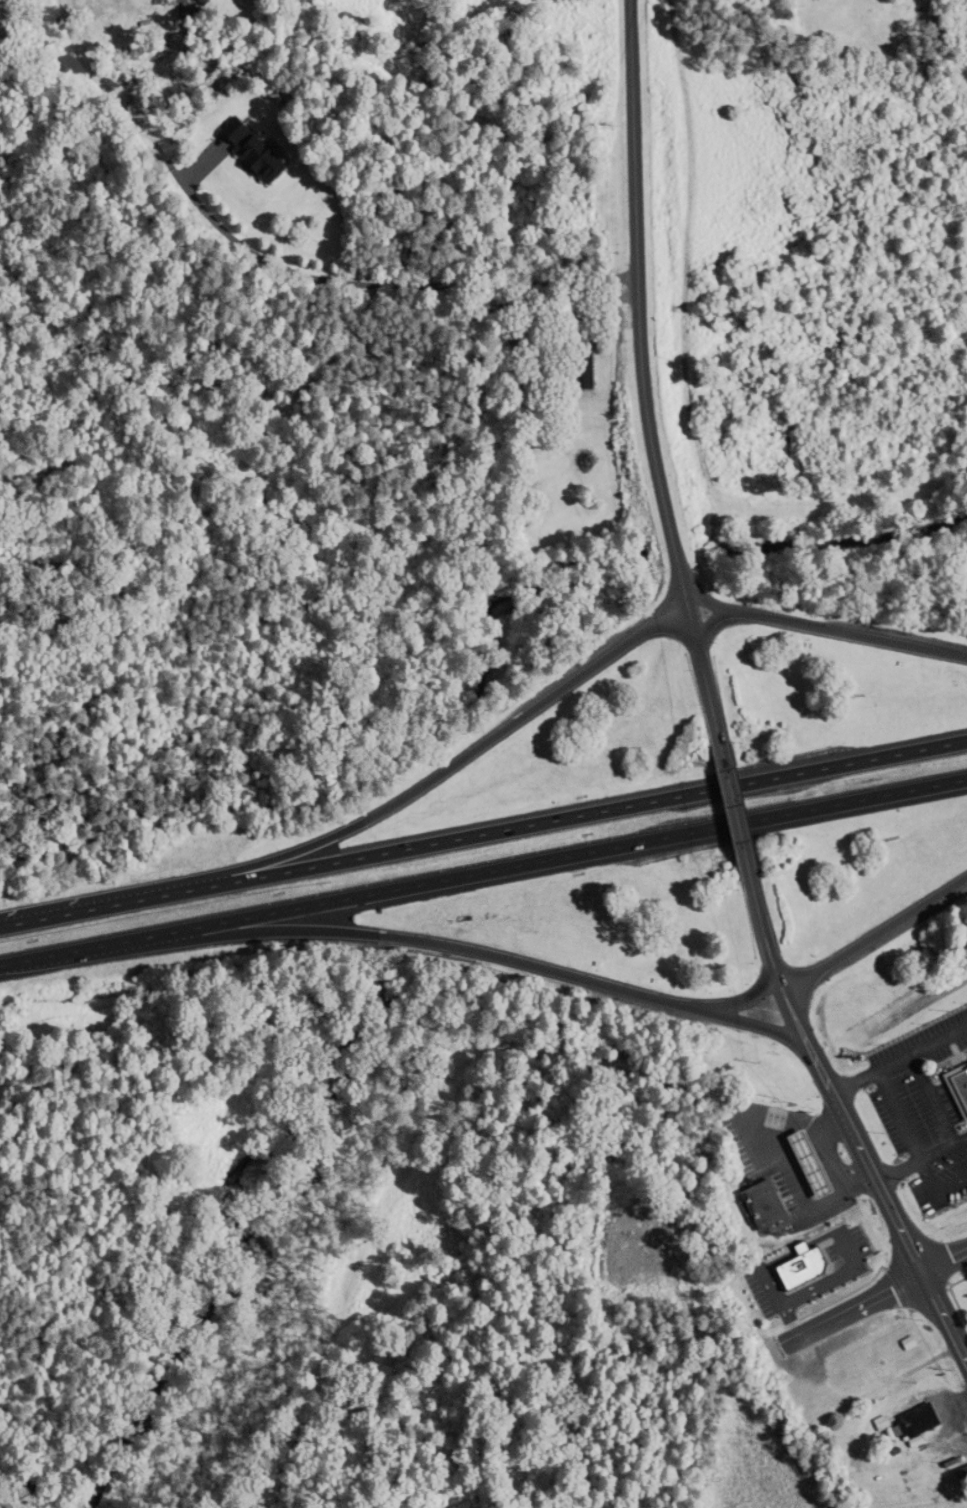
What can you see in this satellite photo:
building: (265, 154)
road: (636, 203)
road: (280, 272)
road: (683, 578)
road: (828, 629)
road: (368, 818)
road: (729, 820)
road: (483, 833)
road: (483, 872)
road: (875, 934)
road: (450, 944)
road: (746, 1000)
road: (899, 1059)
building: (954, 1089)
road: (934, 1099)
road: (898, 1116)
road: (850, 1131)
building: (816, 1164)
road: (922, 1167)
road: (898, 1172)
building: (769, 1204)
road: (943, 1259)
road: (829, 1319)
building: (916, 1424)
building: (957, 1474)

